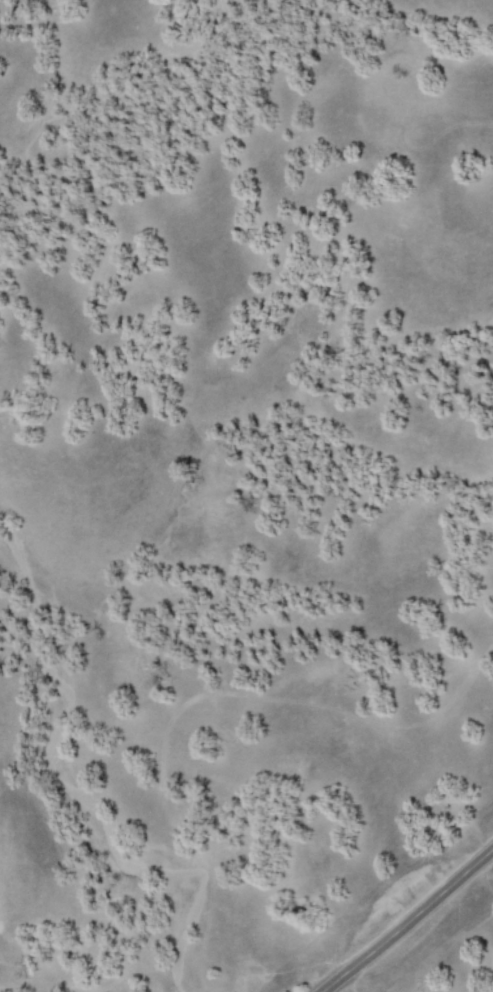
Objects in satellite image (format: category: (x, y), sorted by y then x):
road: (406, 919)

